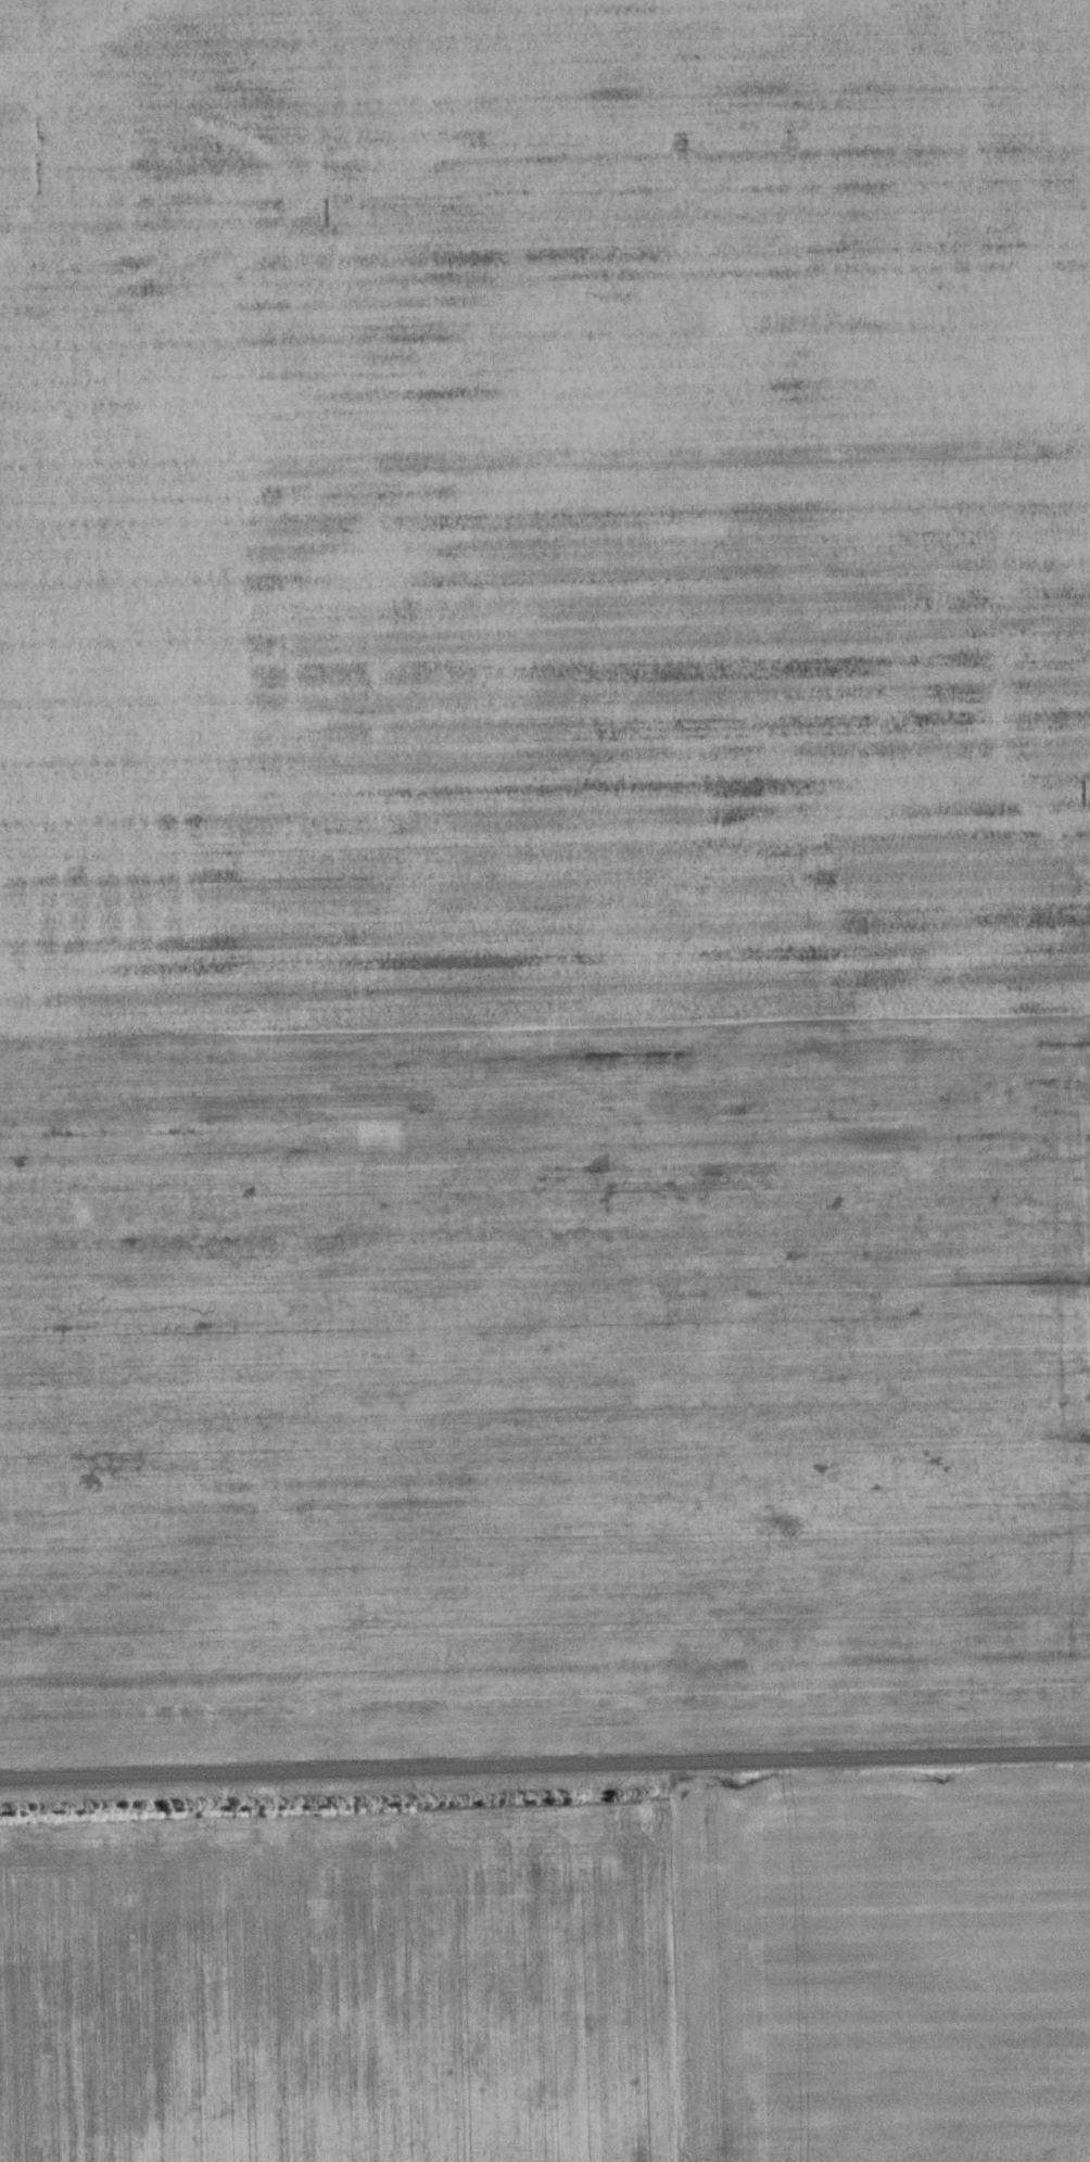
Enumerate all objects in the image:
road: (545, 1766)

